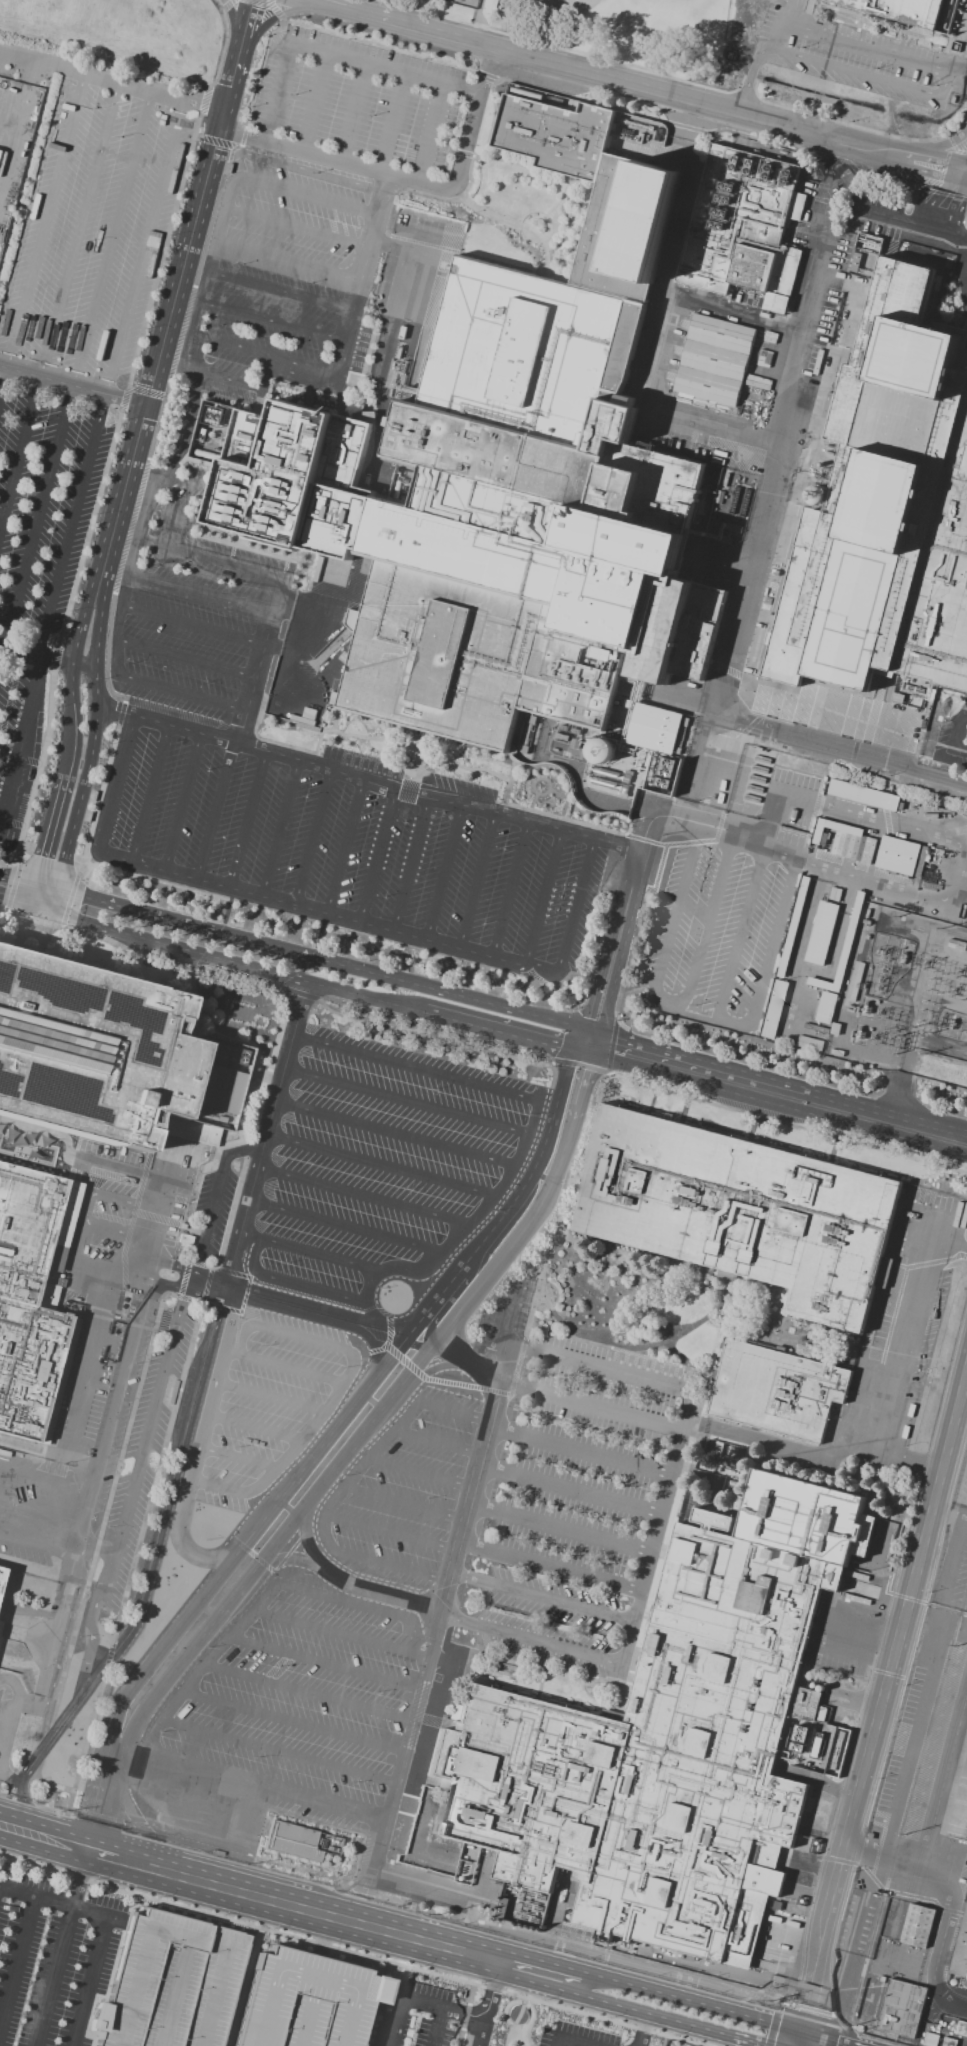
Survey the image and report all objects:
park: (466, 0)
road: (328, 4)
road: (795, 6)
building: (904, 11)
road: (366, 14)
road: (276, 16)
road: (232, 18)
road: (780, 26)
road: (440, 34)
road: (243, 36)
road: (863, 49)
road: (956, 68)
road: (384, 70)
road: (853, 71)
road: (750, 75)
road: (112, 80)
road: (943, 85)
road: (228, 91)
road: (276, 93)
road: (699, 102)
road: (313, 103)
road: (353, 114)
road: (473, 121)
road: (391, 124)
road: (430, 135)
road: (938, 147)
road: (333, 161)
road: (936, 164)
road: (928, 187)
parking lot: (316, 193)
road: (305, 196)
road: (955, 208)
road: (896, 217)
building: (743, 224)
road: (297, 229)
road: (42, 233)
road: (961, 236)
road: (400, 251)
road: (288, 261)
road: (207, 274)
road: (361, 277)
road: (670, 286)
road: (280, 291)
road: (58, 304)
road: (272, 323)
road: (234, 345)
road: (160, 350)
parking lot: (70, 352)
road: (386, 358)
building: (717, 361)
road: (302, 370)
road: (75, 374)
road: (110, 375)
road: (267, 376)
road: (230, 380)
road: (72, 384)
building: (409, 395)
building: (361, 415)
road: (184, 427)
road: (716, 429)
building: (503, 480)
road: (764, 480)
road: (205, 504)
building: (890, 507)
road: (209, 559)
road: (128, 570)
road: (200, 593)
road: (78, 624)
road: (192, 624)
road: (96, 647)
road: (34, 652)
road: (185, 659)
road: (259, 660)
road: (70, 682)
road: (179, 692)
road: (964, 717)
building: (826, 719)
road: (954, 731)
road: (70, 739)
road: (21, 743)
road: (836, 747)
parking lot: (962, 750)
road: (958, 751)
parking lot: (308, 778)
road: (367, 779)
road: (114, 786)
road: (148, 794)
building: (863, 795)
road: (181, 803)
road: (76, 810)
road: (844, 810)
road: (214, 811)
road: (247, 820)
road: (712, 826)
road: (280, 828)
road: (312, 837)
building: (837, 838)
road: (45, 841)
road: (343, 846)
road: (377, 856)
building: (902, 858)
road: (410, 864)
road: (443, 873)
road: (960, 874)
road: (876, 878)
road: (476, 881)
road: (509, 889)
road: (541, 898)
road: (675, 903)
road: (110, 904)
road: (23, 907)
road: (311, 910)
road: (571, 920)
road: (708, 923)
road: (741, 932)
building: (820, 932)
road: (773, 942)
road: (607, 945)
road: (802, 947)
road: (623, 949)
road: (408, 982)
road: (317, 985)
power substation: (903, 996)
building: (825, 1006)
building: (774, 1009)
road: (694, 1015)
road: (304, 1038)
building: (809, 1043)
building: (91, 1048)
road: (296, 1071)
road: (426, 1071)
road: (778, 1081)
road: (775, 1103)
road: (418, 1104)
road: (287, 1105)
road: (405, 1137)
road: (278, 1138)
road: (246, 1149)
road: (122, 1168)
road: (392, 1169)
road: (268, 1170)
road: (376, 1199)
road: (260, 1204)
road: (85, 1207)
building: (740, 1214)
road: (158, 1219)
road: (208, 1222)
road: (471, 1227)
parking lot: (353, 1231)
road: (359, 1231)
road: (250, 1236)
road: (320, 1256)
road: (72, 1262)
road: (129, 1264)
road: (188, 1269)
road: (292, 1283)
road: (192, 1292)
building: (32, 1300)
road: (507, 1314)
road: (330, 1316)
road: (242, 1338)
road: (305, 1339)
road: (91, 1357)
road: (901, 1362)
road: (283, 1366)
road: (492, 1366)
road: (596, 1367)
road: (434, 1369)
road: (120, 1385)
building: (780, 1392)
road: (269, 1397)
road: (358, 1399)
road: (586, 1404)
road: (383, 1409)
road: (450, 1410)
road: (191, 1420)
road: (486, 1421)
road: (255, 1428)
road: (310, 1429)
road: (498, 1432)
road: (433, 1441)
road: (200, 1447)
road: (787, 1448)
road: (477, 1454)
road: (588, 1455)
road: (238, 1458)
road: (364, 1466)
road: (488, 1469)
road: (416, 1471)
road: (47, 1480)
road: (468, 1485)
parking lot: (962, 1487)
road: (222, 1488)
road: (578, 1494)
parking lot: (577, 1495)
road: (130, 1497)
road: (399, 1501)
road: (477, 1508)
road: (459, 1518)
road: (43, 1519)
road: (87, 1523)
road: (656, 1529)
road: (386, 1532)
road: (567, 1532)
road: (40, 1543)
road: (470, 1547)
road: (99, 1550)
road: (452, 1550)
road: (287, 1559)
road: (377, 1562)
road: (560, 1571)
building: (3, 1578)
road: (473, 1579)
road: (443, 1580)
road: (350, 1584)
road: (361, 1604)
road: (563, 1604)
road: (458, 1619)
road: (440, 1622)
building: (1, 1626)
road: (339, 1632)
parking lot: (332, 1635)
building: (0, 1639)
road: (59, 1644)
road: (548, 1646)
road: (427, 1658)
road: (323, 1660)
road: (191, 1680)
road: (420, 1686)
road: (306, 1691)
road: (880, 1701)
road: (290, 1719)
road: (12, 1720)
road: (412, 1720)
building: (672, 1741)
road: (403, 1749)
road: (273, 1751)
road: (945, 1776)
road: (9, 1777)
road: (394, 1783)
road: (262, 1785)
road: (103, 1796)
road: (384, 1820)
road: (190, 1827)
road: (31, 1831)
road: (76, 1844)
building: (294, 1844)
road: (111, 1853)
road: (386, 1873)
road: (80, 1876)
road: (445, 1889)
road: (245, 1892)
road: (953, 1898)
building: (501, 1908)
road: (90, 1911)
building: (918, 1928)
road: (64, 1939)
road: (452, 1951)
road: (354, 1952)
road: (17, 1959)
parking lot: (110, 1970)
road: (90, 1981)
building: (170, 1982)
parking garage: (170, 1982)
building: (965, 1983)
road: (244, 1987)
road: (486, 1988)
road: (470, 1993)
road: (415, 1999)
building: (307, 2000)
parking garage: (307, 2000)
road: (682, 2000)
building: (900, 2008)
road: (654, 2014)
road: (464, 2015)
road: (513, 2021)
road: (434, 2026)
road: (642, 2029)
road: (475, 2031)
road: (458, 2037)
road: (662, 2040)
road: (814, 2041)
road: (833, 2041)
road: (560, 2043)
road: (570, 2043)

